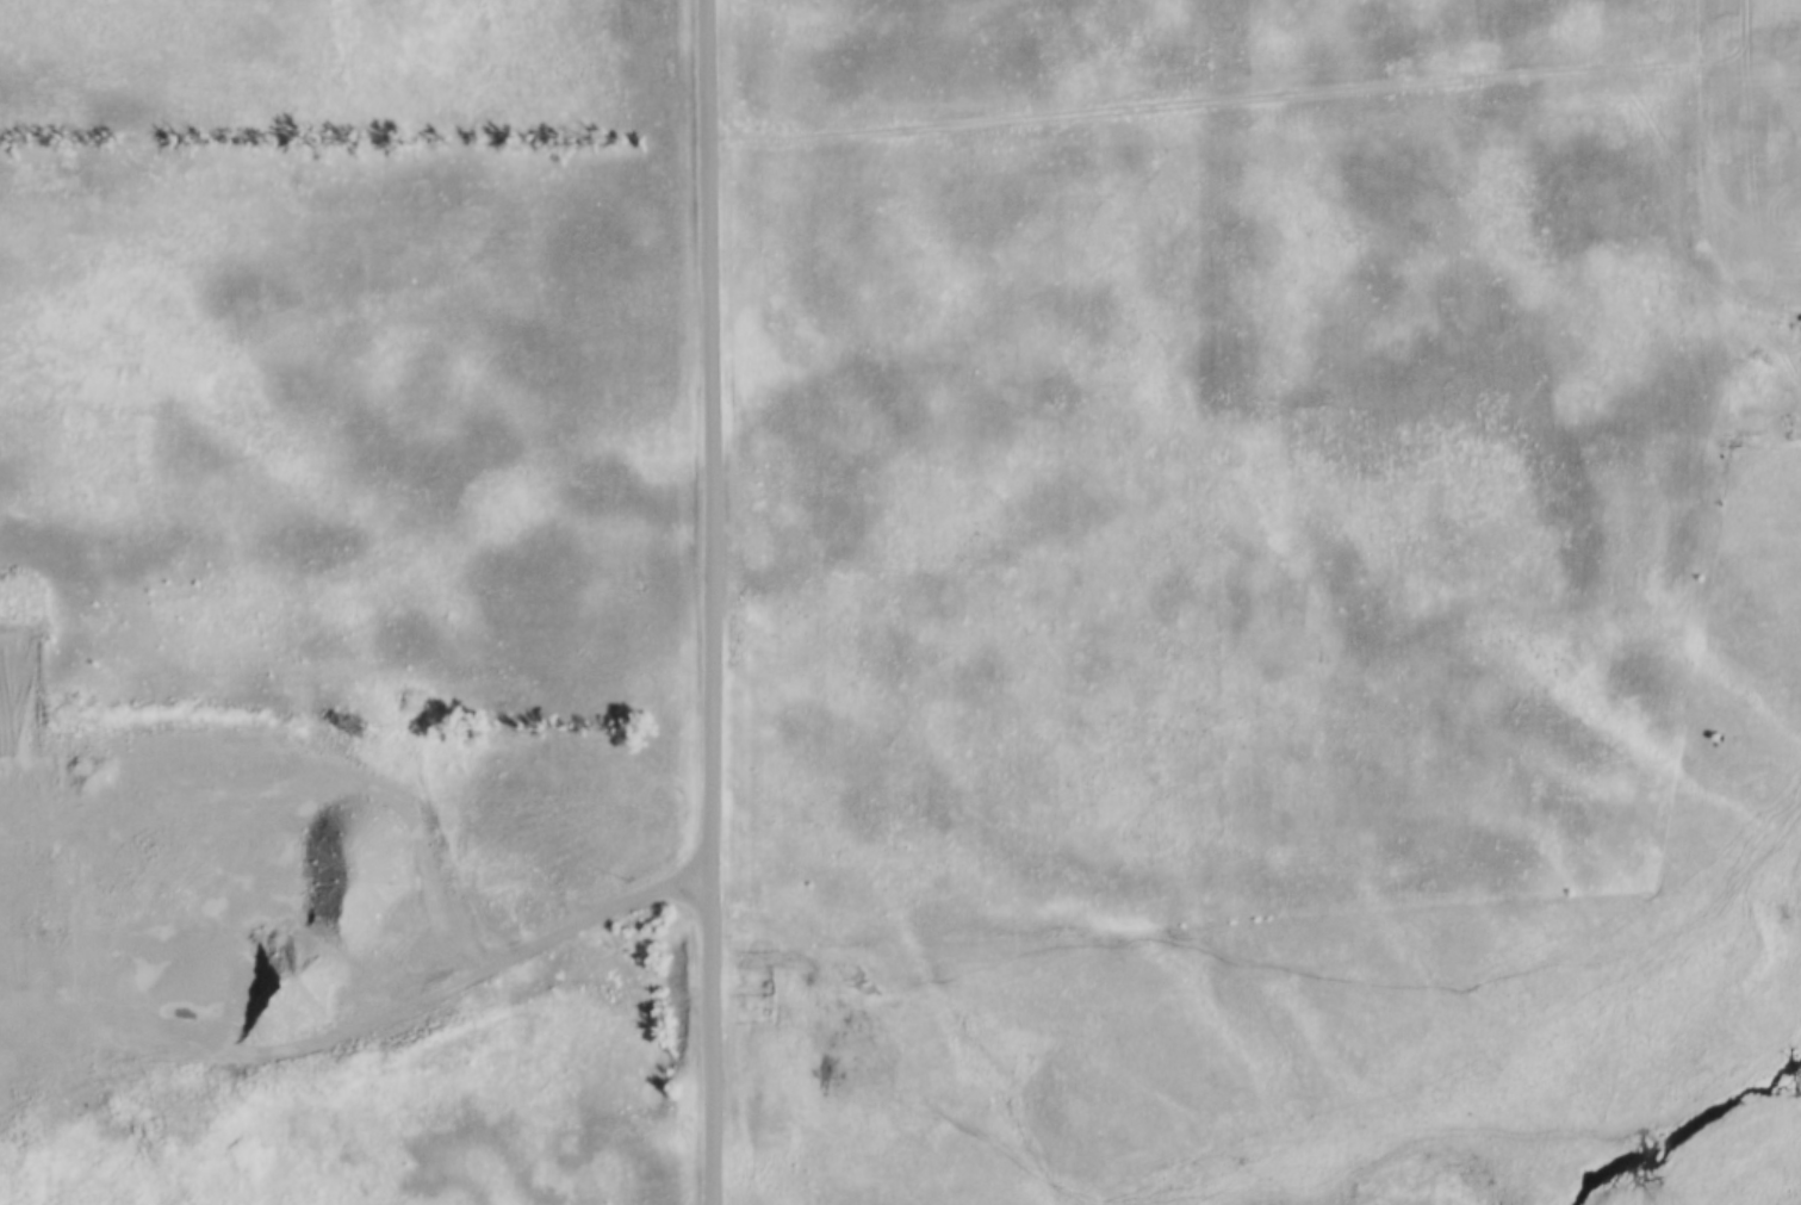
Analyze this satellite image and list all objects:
road: (1211, 101)
road: (710, 602)
quarry: (52, 999)
road: (368, 1020)

